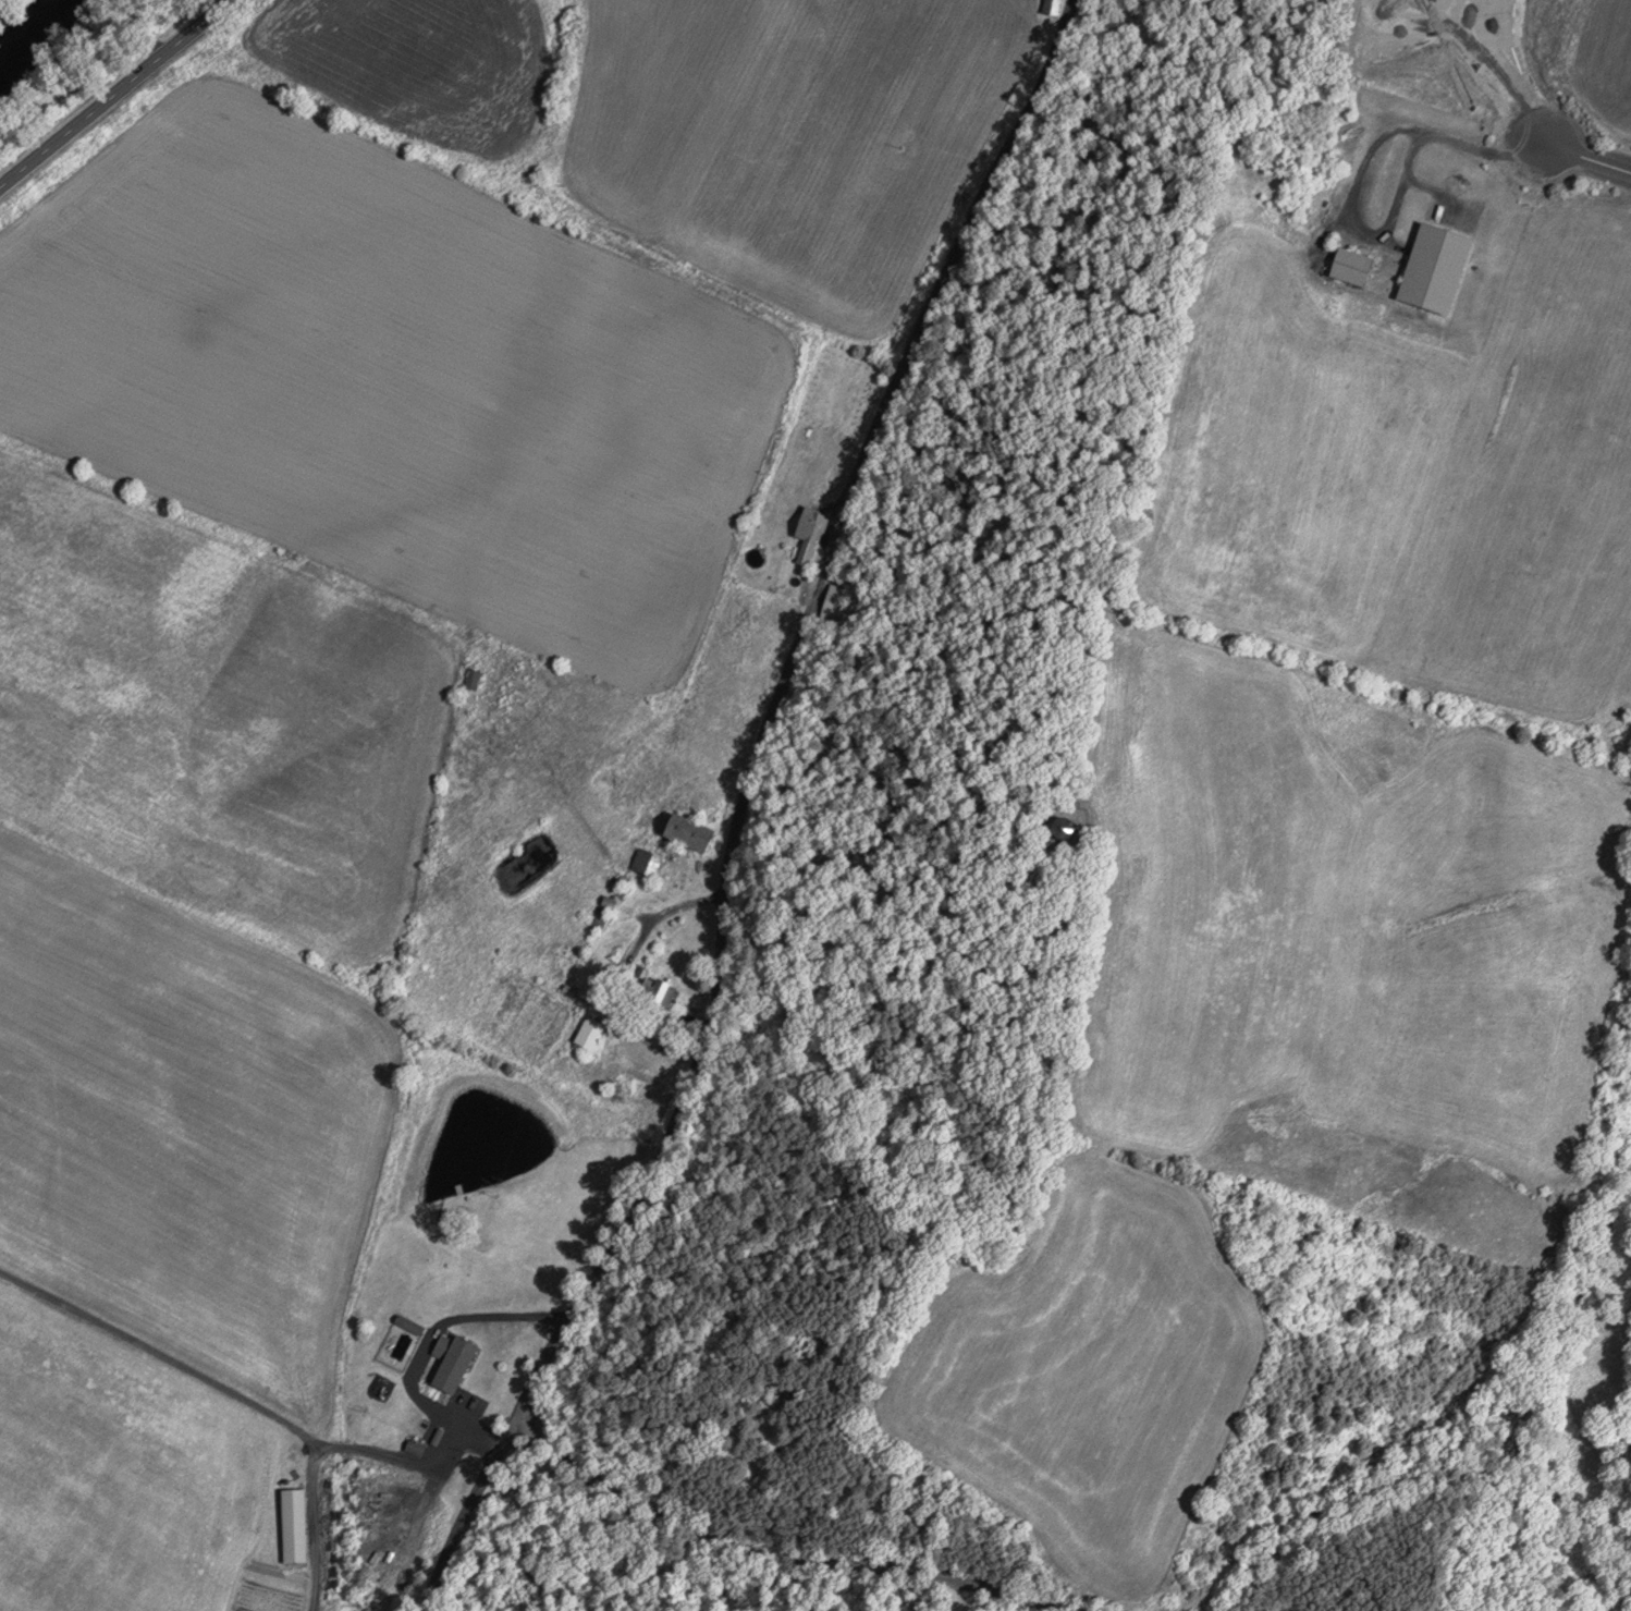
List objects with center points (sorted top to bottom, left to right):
road: (112, 90)
road: (1583, 156)
building: (1350, 266)
building: (1433, 268)
building: (810, 523)
building: (831, 600)
building: (470, 676)
road: (727, 805)
building: (1063, 827)
building: (687, 830)
building: (643, 861)
building: (655, 990)
building: (588, 1033)
building: (452, 1363)
road: (249, 1401)
building: (291, 1524)
road: (312, 1527)
road: (776, 1555)

